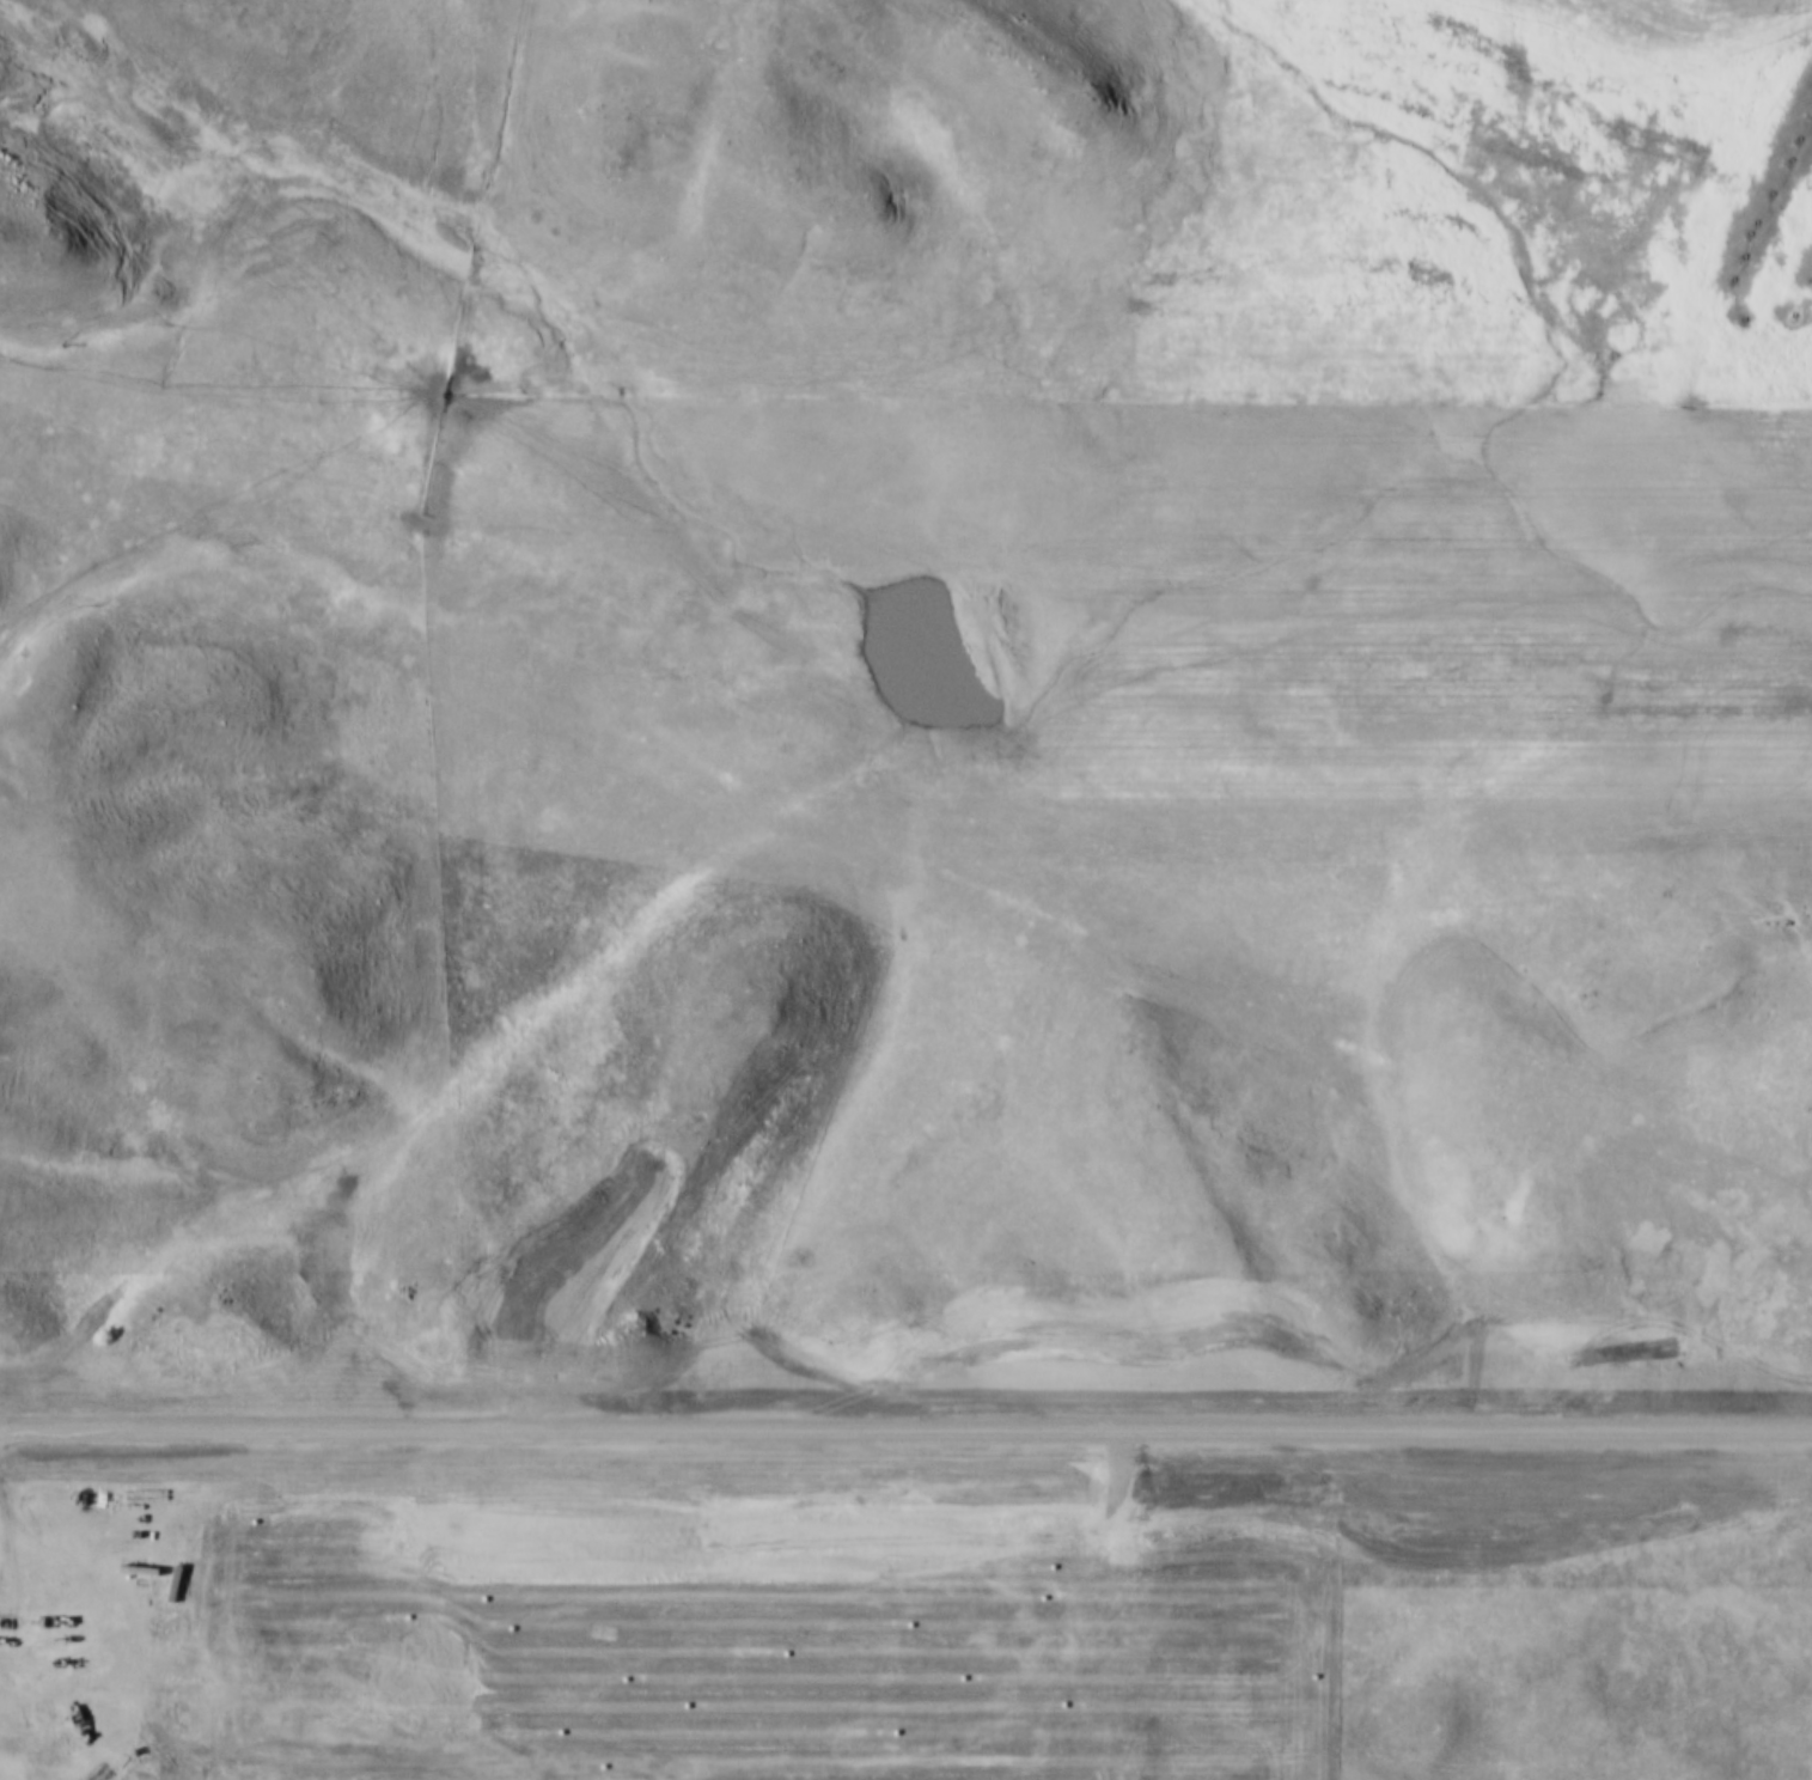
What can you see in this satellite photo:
road: (905, 1422)
quarry: (492, 1632)

